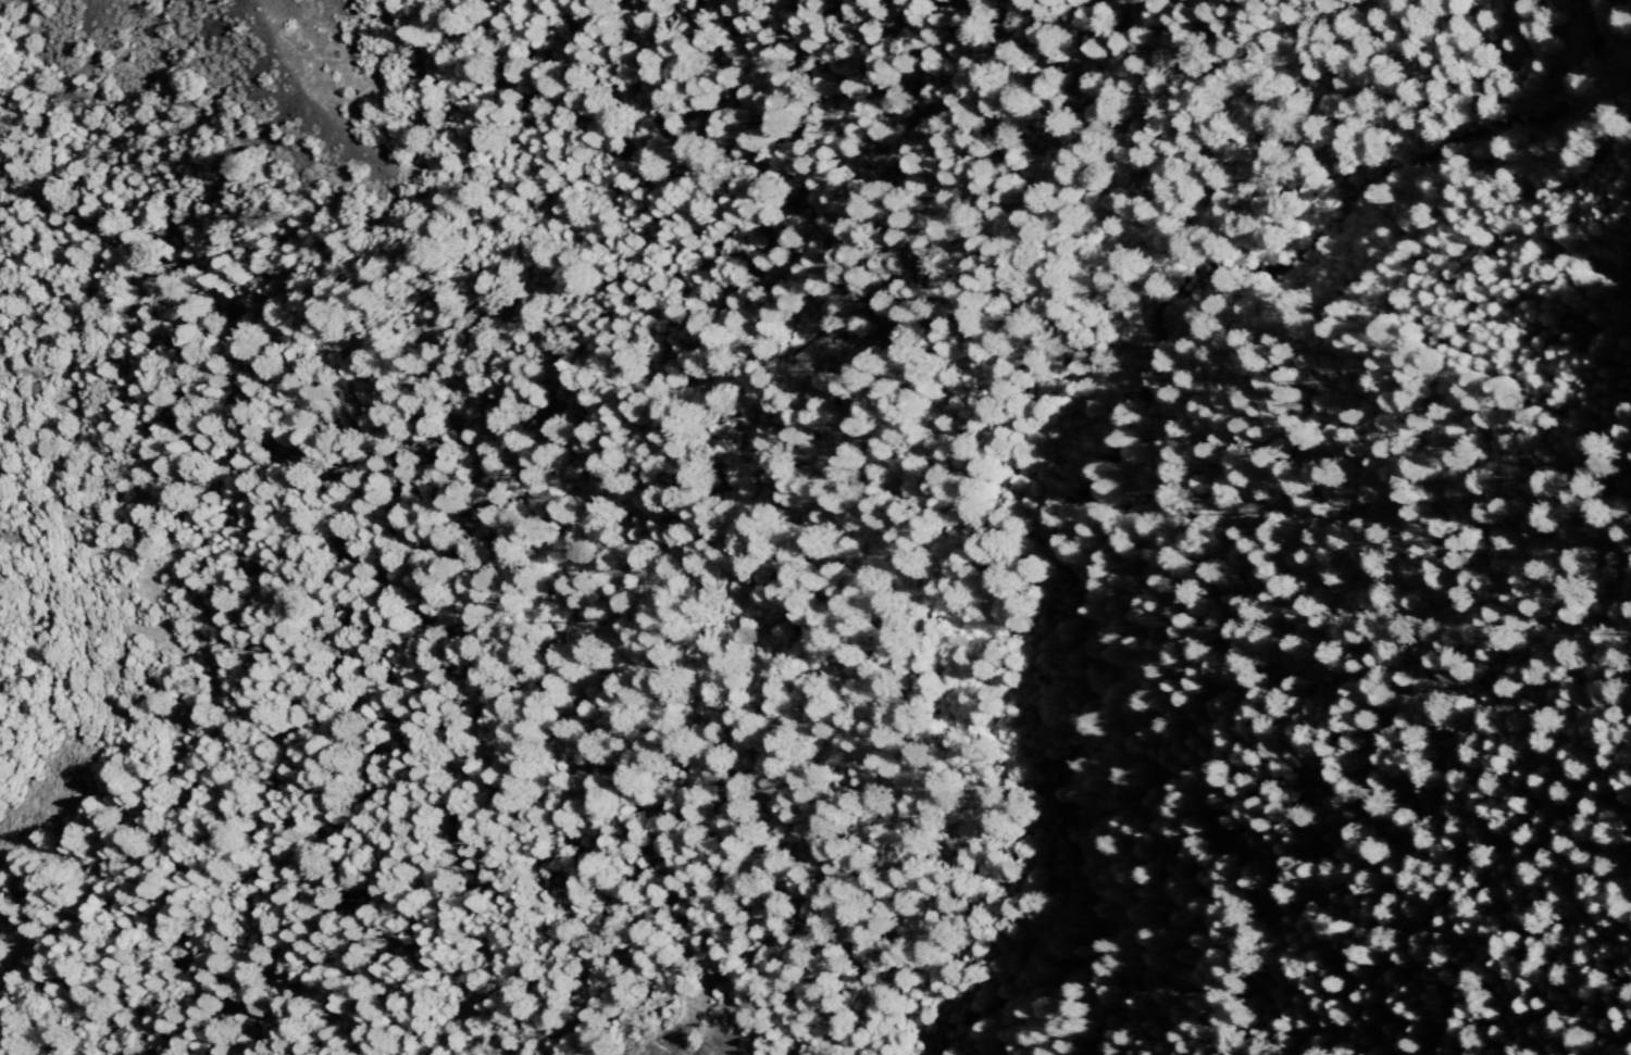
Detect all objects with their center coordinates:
road: (630, 852)
road: (14, 954)

